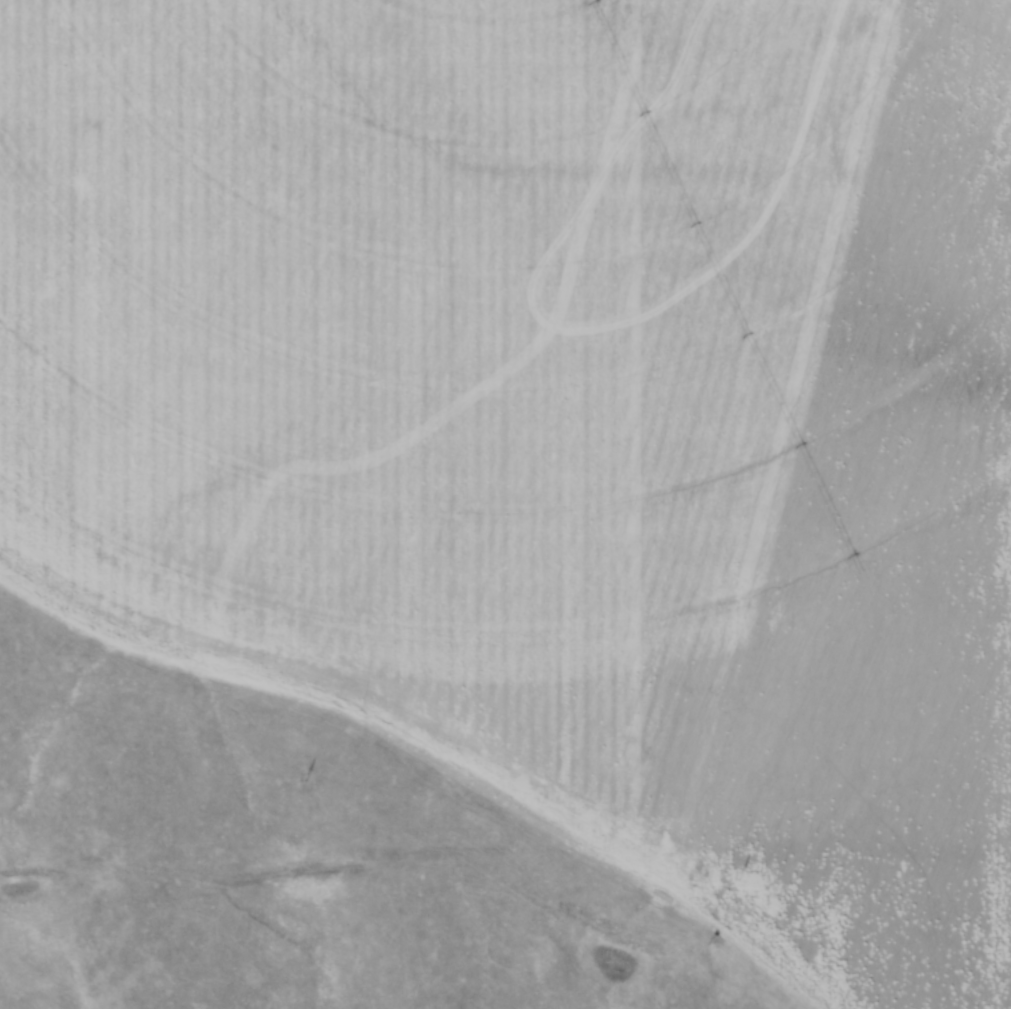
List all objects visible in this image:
power tower: (307, 774)
power tower: (742, 868)

